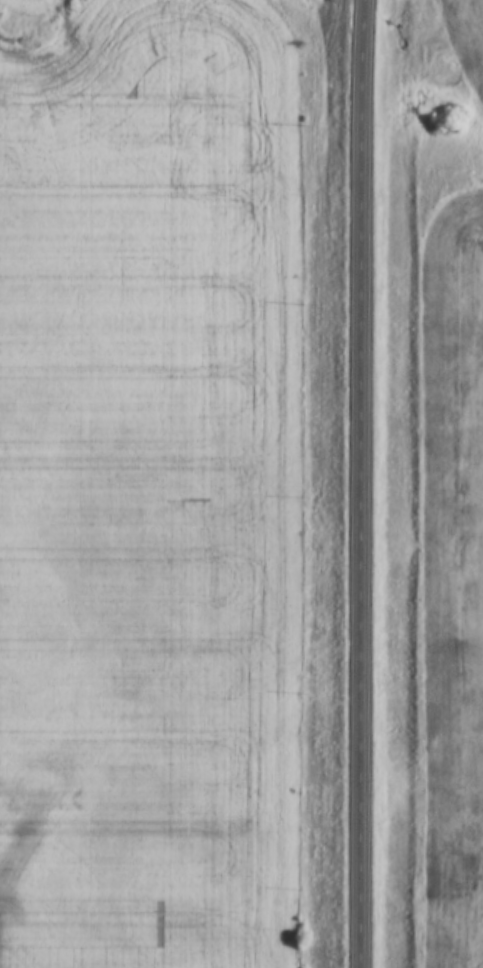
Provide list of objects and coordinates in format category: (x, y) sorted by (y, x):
road: (363, 55)
road: (361, 539)

